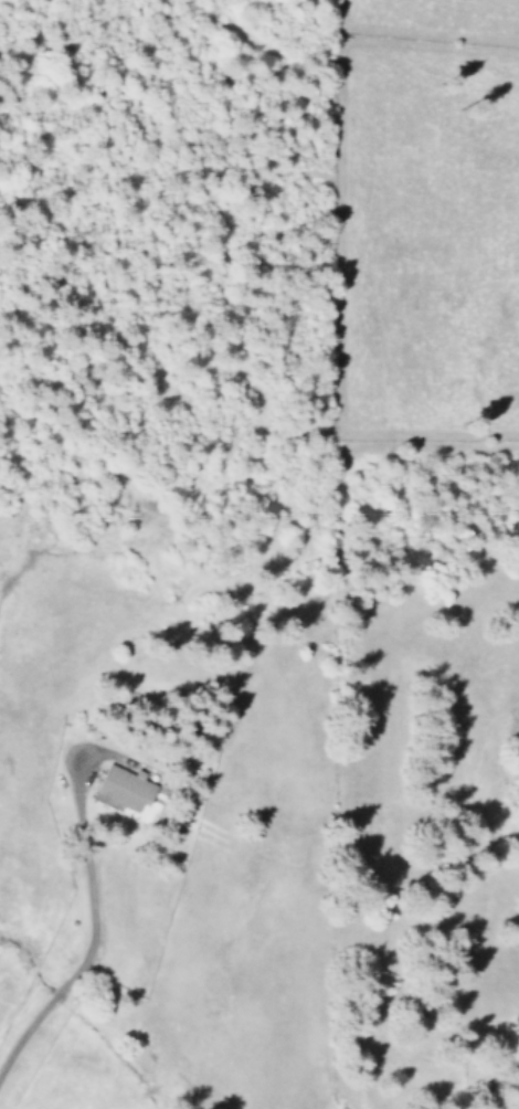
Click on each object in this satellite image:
crop: (434, 213)
building: (119, 788)
road: (83, 911)

